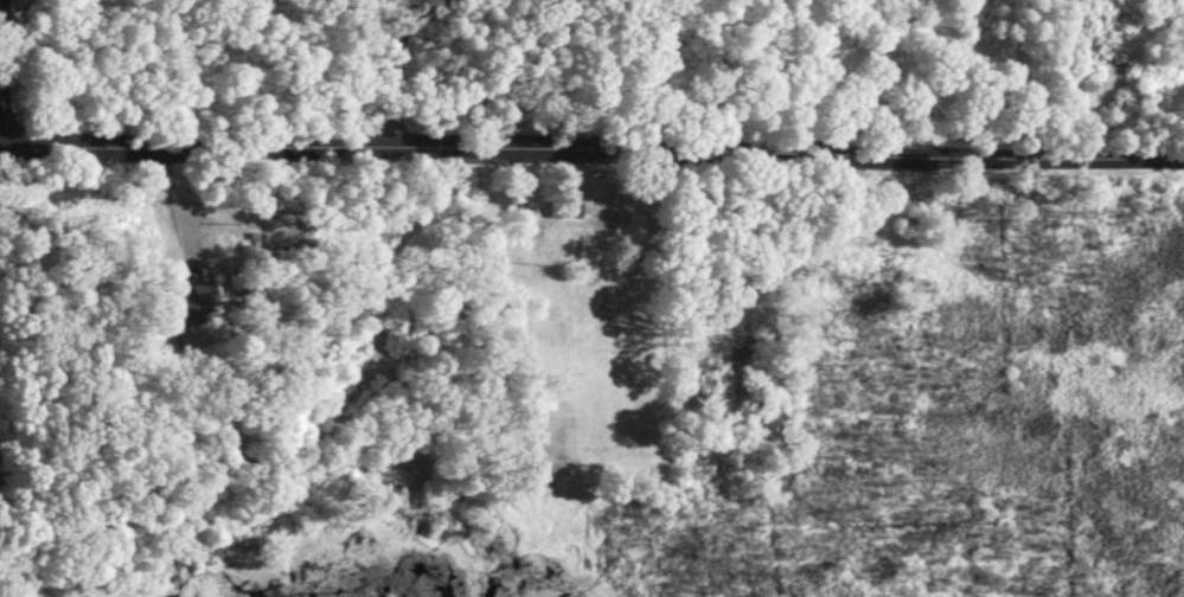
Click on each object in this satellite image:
road: (395, 64)
road: (591, 152)
road: (179, 204)
building: (187, 302)

